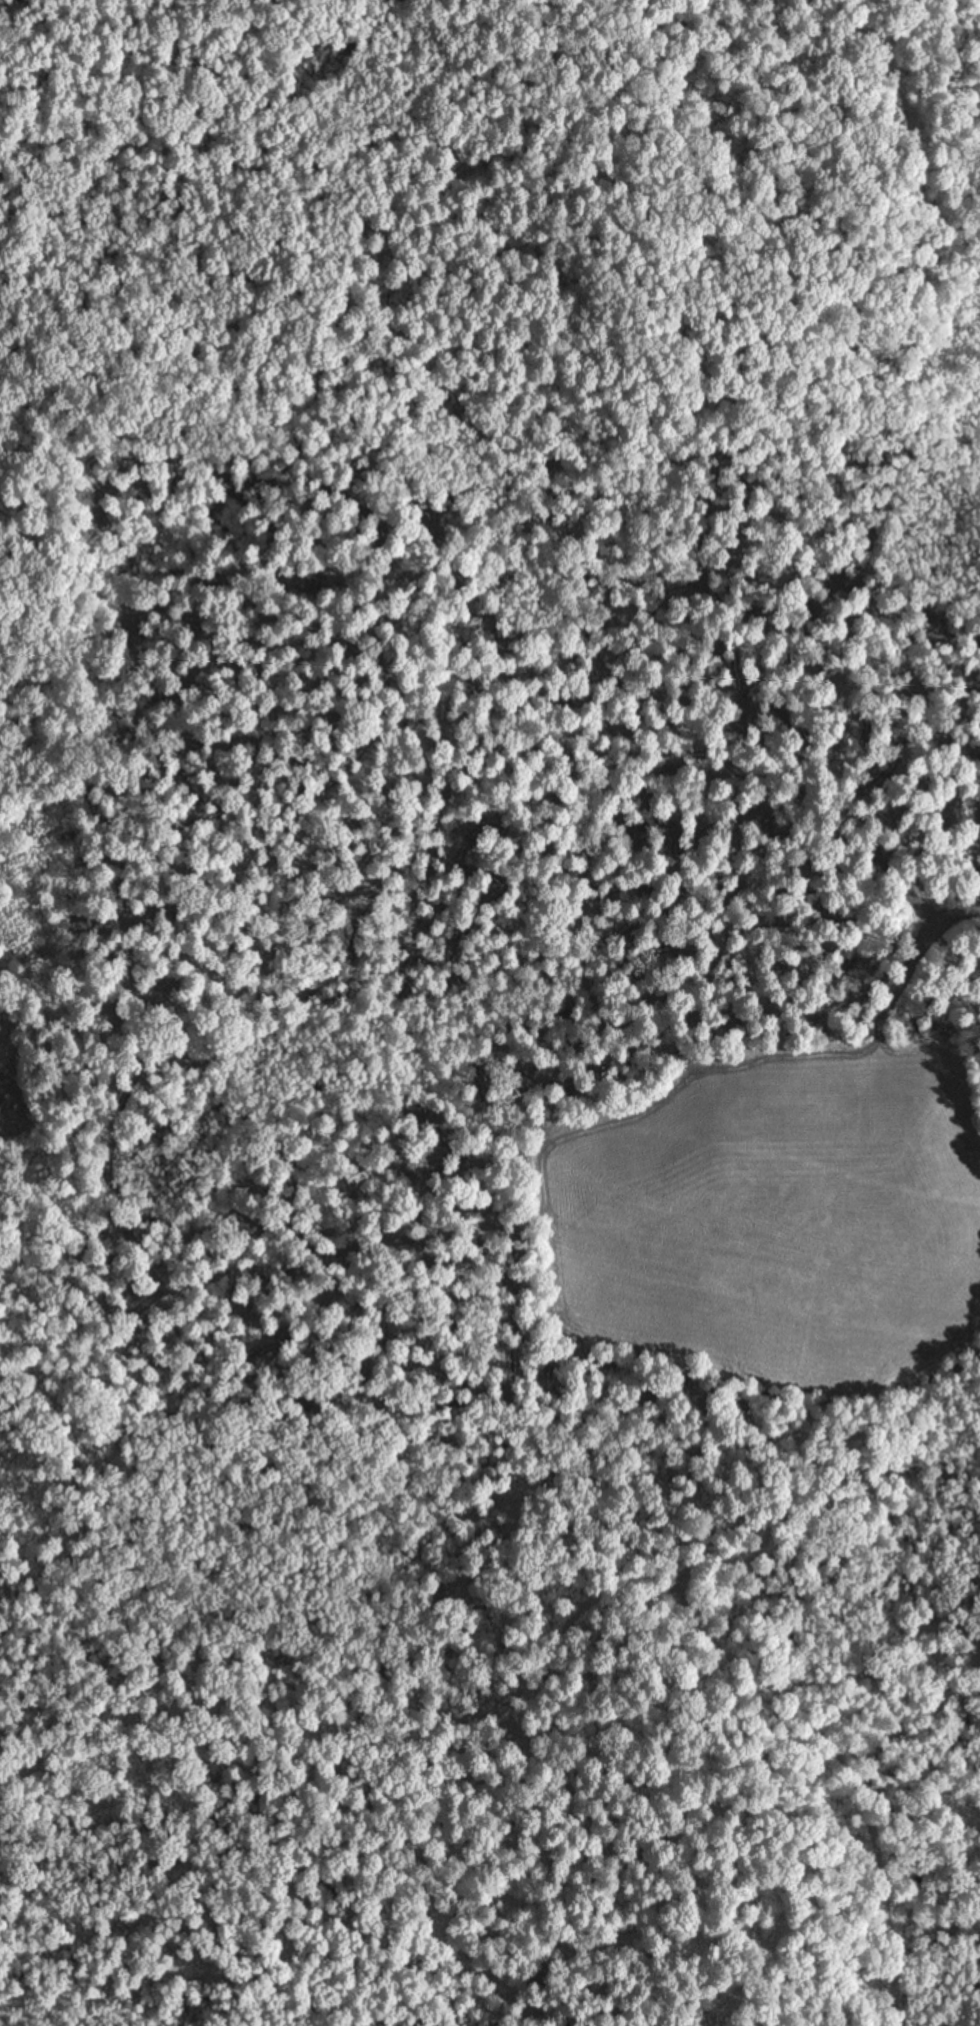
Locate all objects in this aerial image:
road: (175, 92)
road: (649, 261)
road: (32, 651)

